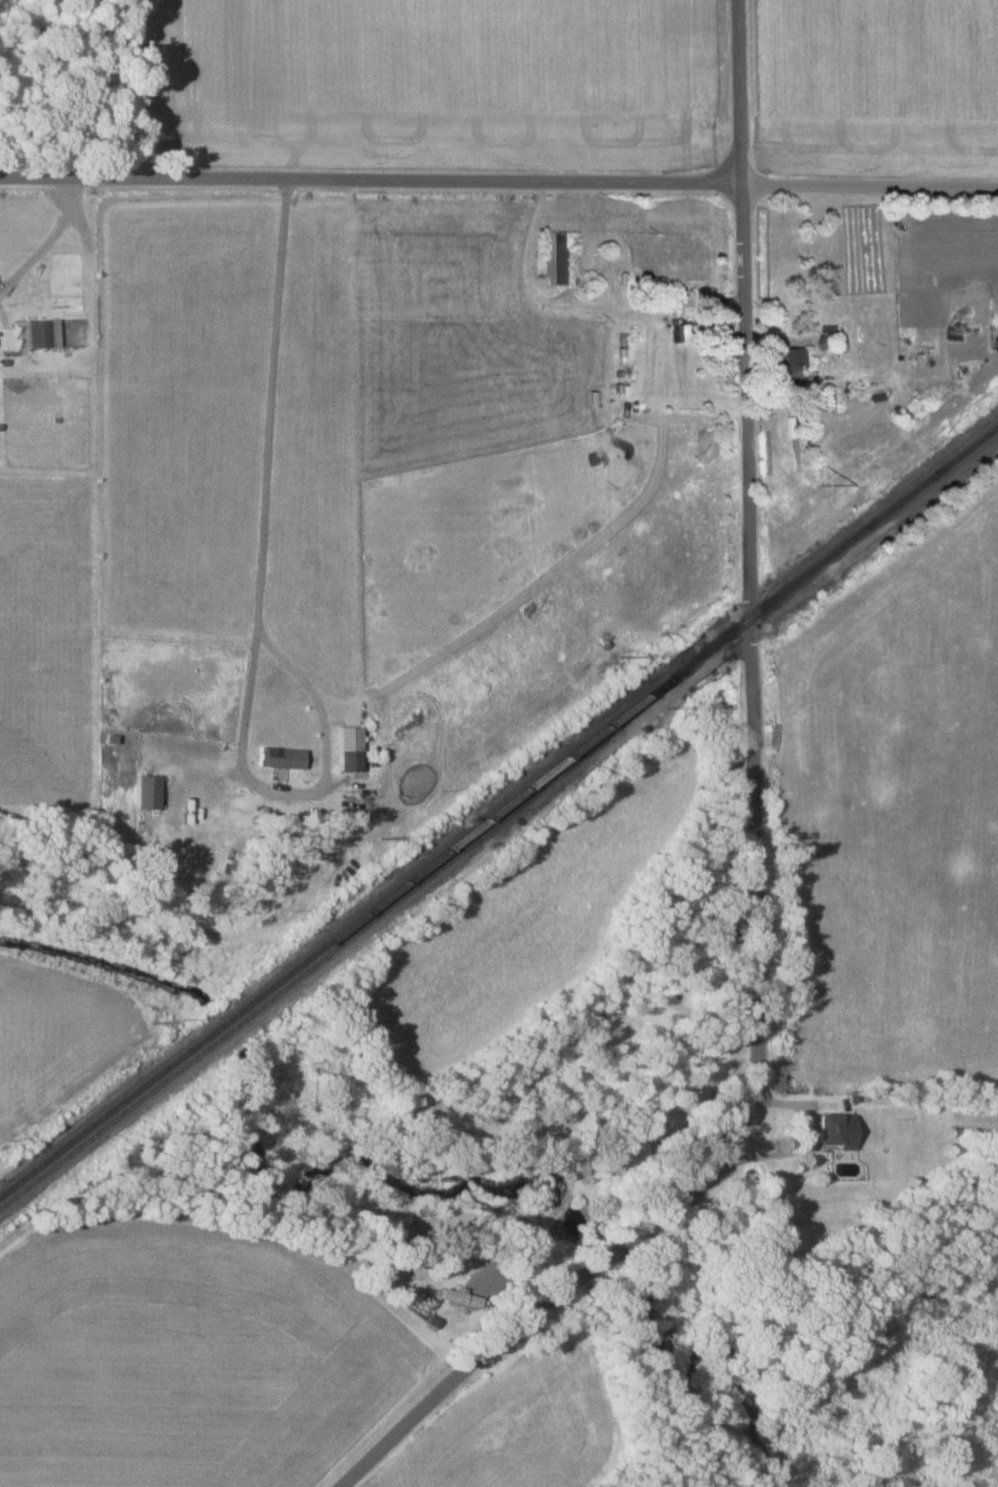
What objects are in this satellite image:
crop: (880, 86)
road: (739, 89)
road: (370, 175)
road: (869, 179)
road: (55, 243)
building: (559, 259)
building: (689, 334)
building: (33, 336)
building: (832, 343)
building: (800, 368)
road: (258, 608)
building: (351, 752)
building: (281, 760)
building: (146, 795)
railway: (498, 809)
road: (754, 925)
railway: (322, 962)
building: (835, 1132)
road: (805, 1142)
building: (461, 1297)

